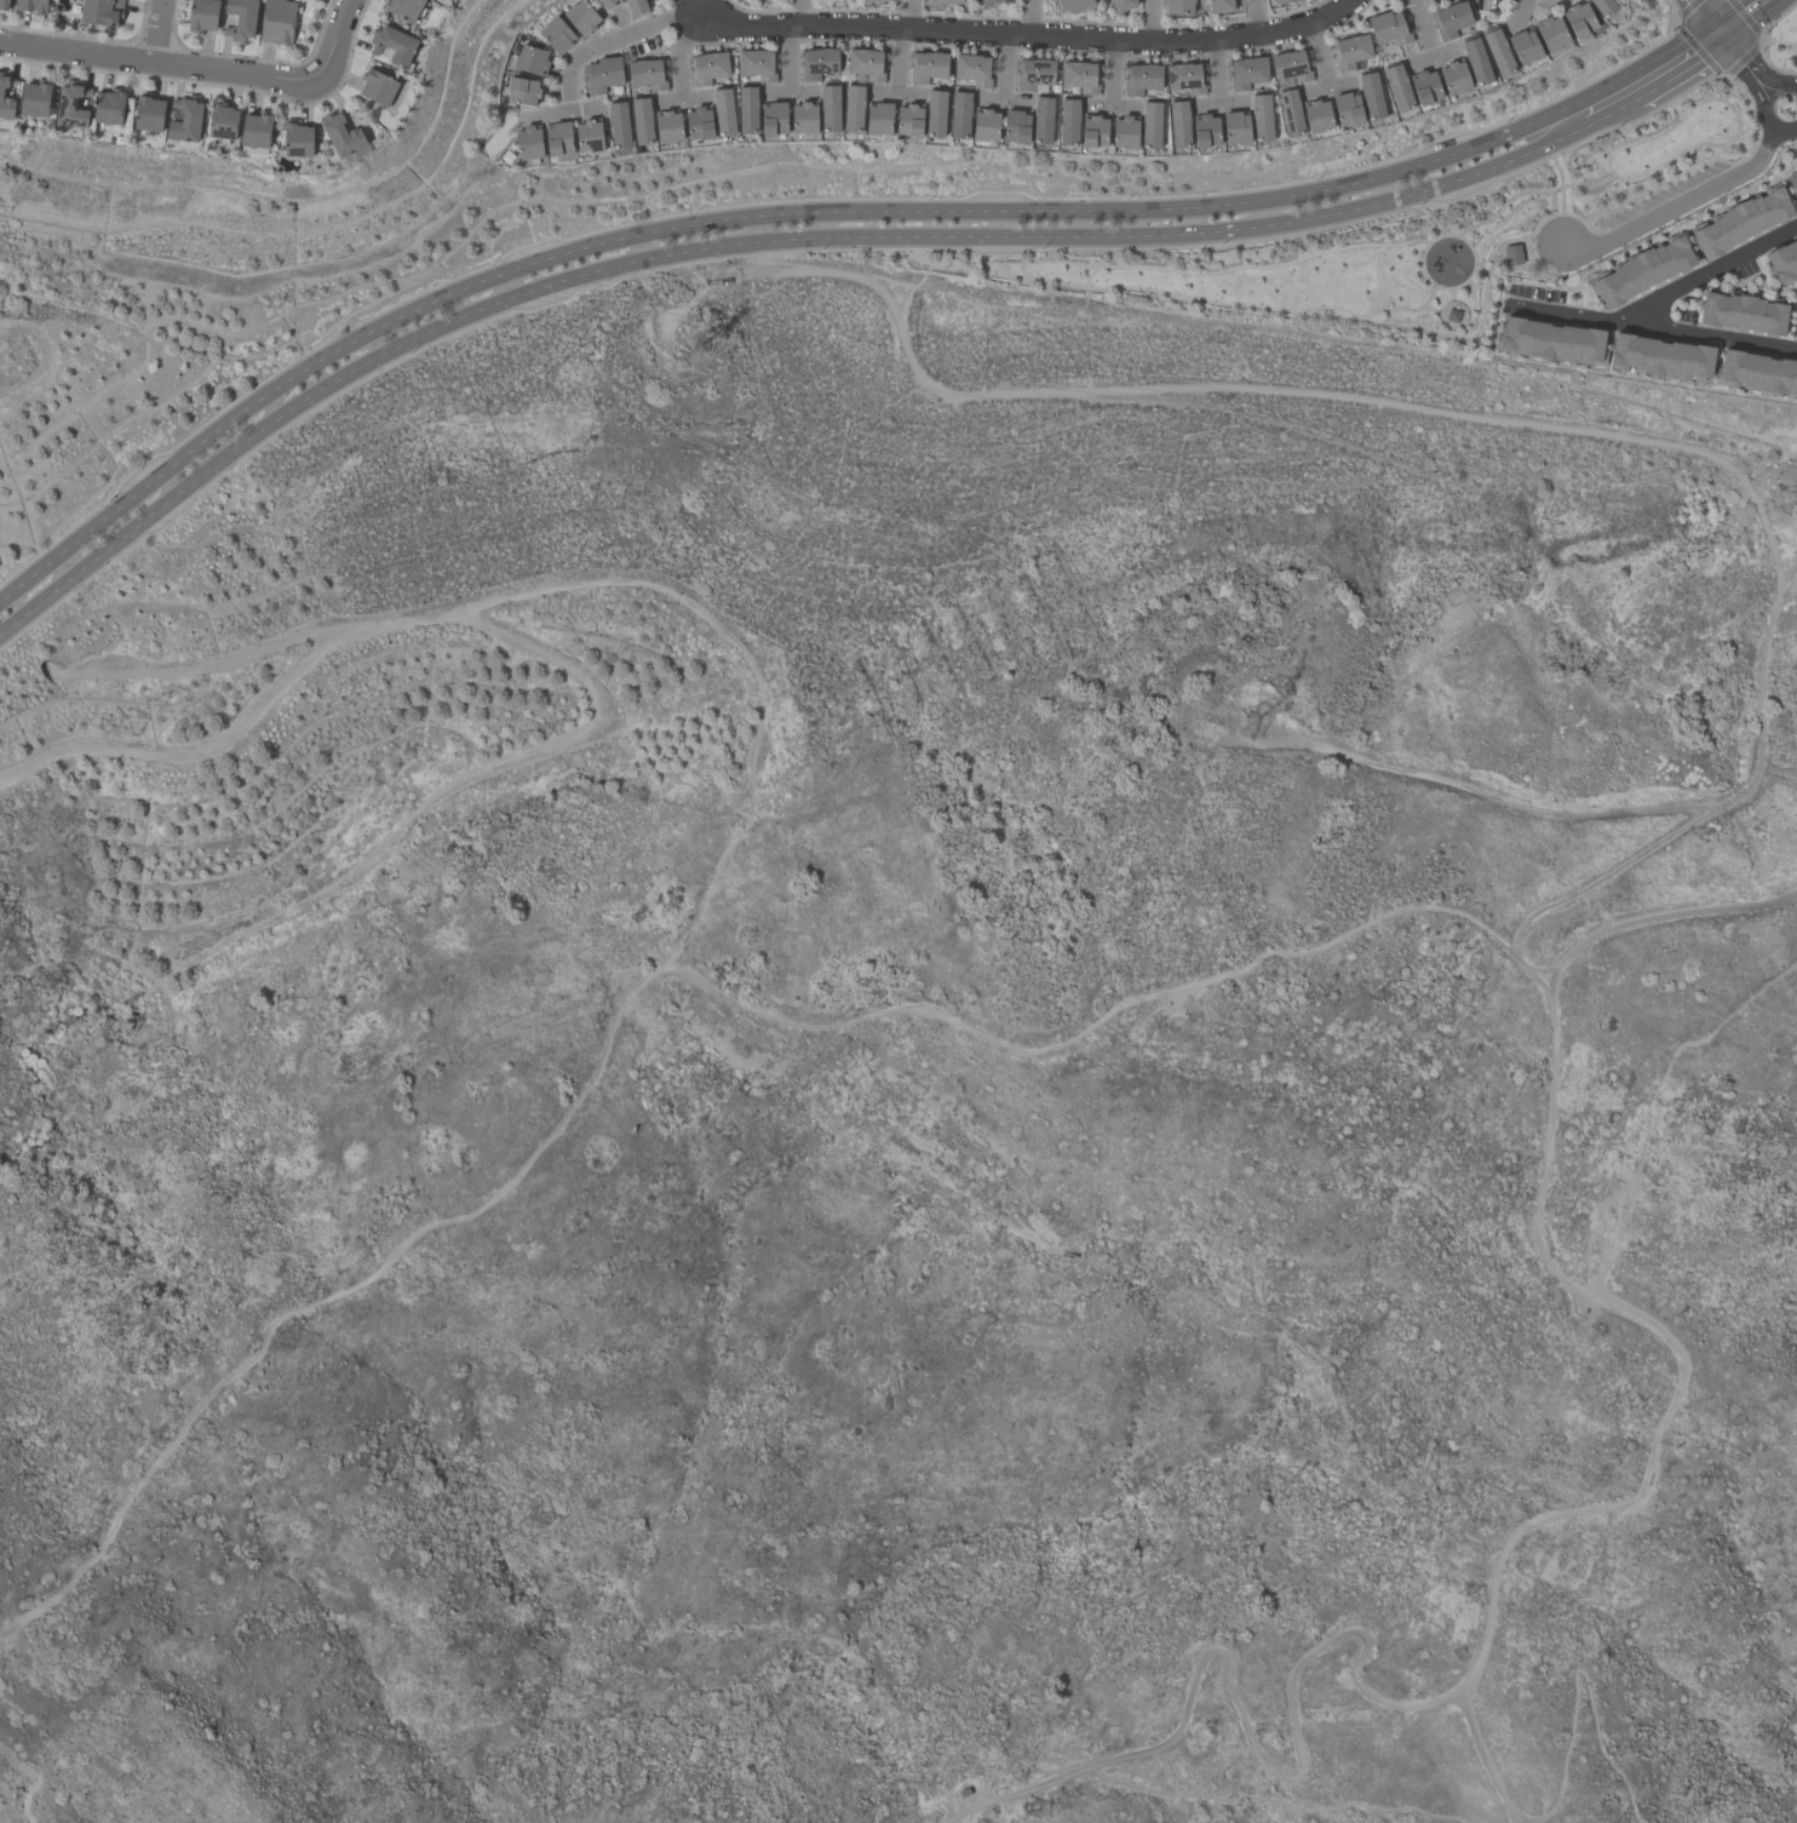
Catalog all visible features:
building: (869, 1)
building: (1281, 1)
building: (603, 2)
building: (942, 2)
building: (989, 2)
building: (2, 5)
building: (1073, 5)
building: (1120, 5)
building: (31, 6)
building: (1177, 6)
building: (1219, 6)
building: (636, 7)
building: (1602, 7)
building: (404, 10)
road: (1520, 11)
building: (101, 12)
road: (802, 12)
road: (912, 12)
building: (202, 16)
road: (1029, 16)
road: (1253, 16)
road: (1705, 16)
road: (1738, 16)
building: (580, 17)
building: (241, 19)
road: (1149, 19)
building: (1451, 19)
building: (277, 22)
building: (1579, 22)
road: (343, 25)
road: (934, 27)
road: (1422, 27)
building: (1388, 28)
road: (155, 30)
building: (556, 34)
building: (1551, 34)
building: (394, 46)
building: (1525, 47)
road: (679, 51)
building: (1350, 51)
road: (1319, 53)
road: (1431, 53)
building: (1498, 53)
road: (788, 56)
building: (530, 59)
road: (898, 59)
building: (817, 62)
road: (174, 63)
building: (866, 63)
road: (1005, 63)
building: (1476, 63)
road: (1743, 63)
building: (757, 64)
building: (928, 65)
building: (1290, 65)
building: (707, 67)
road: (1217, 68)
building: (974, 69)
road: (1113, 69)
road: (1682, 70)
building: (1246, 71)
building: (1034, 73)
building: (602, 74)
building: (647, 74)
building: (1080, 76)
building: (1184, 78)
building: (1141, 79)
building: (1454, 79)
road: (1327, 84)
road: (1781, 85)
building: (1424, 87)
building: (378, 88)
road: (791, 88)
building: (1397, 88)
building: (522, 90)
road: (897, 93)
road: (682, 96)
road: (1004, 96)
building: (1371, 96)
building: (6, 99)
road: (1219, 99)
building: (35, 101)
road: (1110, 102)
road: (562, 107)
building: (71, 108)
building: (109, 108)
building: (829, 109)
road: (1733, 109)
building: (747, 110)
building: (854, 110)
building: (1347, 110)
road: (1612, 111)
building: (724, 113)
building: (1290, 114)
building: (149, 115)
building: (935, 115)
building: (960, 116)
building: (1317, 116)
building: (1261, 119)
building: (774, 120)
building: (804, 120)
building: (879, 120)
building: (185, 121)
building: (642, 121)
building: (1043, 121)
building: (909, 122)
road: (1768, 122)
building: (223, 124)
building: (1068, 124)
building: (699, 125)
building: (1178, 125)
building: (619, 126)
building: (986, 126)
building: (1150, 126)
building: (1016, 127)
building: (667, 128)
building: (1235, 130)
building: (257, 132)
building: (1205, 132)
building: (1095, 133)
building: (1125, 133)
building: (343, 134)
building: (589, 137)
building: (557, 139)
building: (298, 141)
building: (528, 143)
road: (1763, 154)
building: (1792, 180)
road: (1561, 182)
parking lot: (1660, 196)
road: (1458, 197)
road: (1506, 201)
road: (822, 213)
road: (1654, 217)
building: (1738, 218)
road: (1543, 219)
road: (747, 241)
park: (1418, 242)
road: (1529, 251)
building: (1514, 254)
building: (1781, 258)
road: (1241, 266)
building: (1640, 268)
road: (1712, 269)
road: (1481, 271)
road: (1453, 287)
road: (1154, 289)
road: (1485, 302)
road: (1412, 310)
road: (1437, 310)
building: (1740, 310)
road: (1451, 311)
road: (1579, 313)
building: (1793, 321)
road: (1716, 333)
building: (1550, 338)
power tower: (690, 342)
building: (1659, 354)
building: (1756, 369)
road: (1500, 413)
power tower: (1481, 493)
road: (247, 657)
road: (750, 664)
power tower: (1245, 727)
road: (186, 749)
road: (475, 778)
road: (1498, 801)
road: (1665, 915)
road: (642, 982)
road: (1650, 1102)
road: (1477, 1662)
road: (1583, 1673)
road: (1480, 1760)
road: (25, 1779)
road: (1264, 1802)

